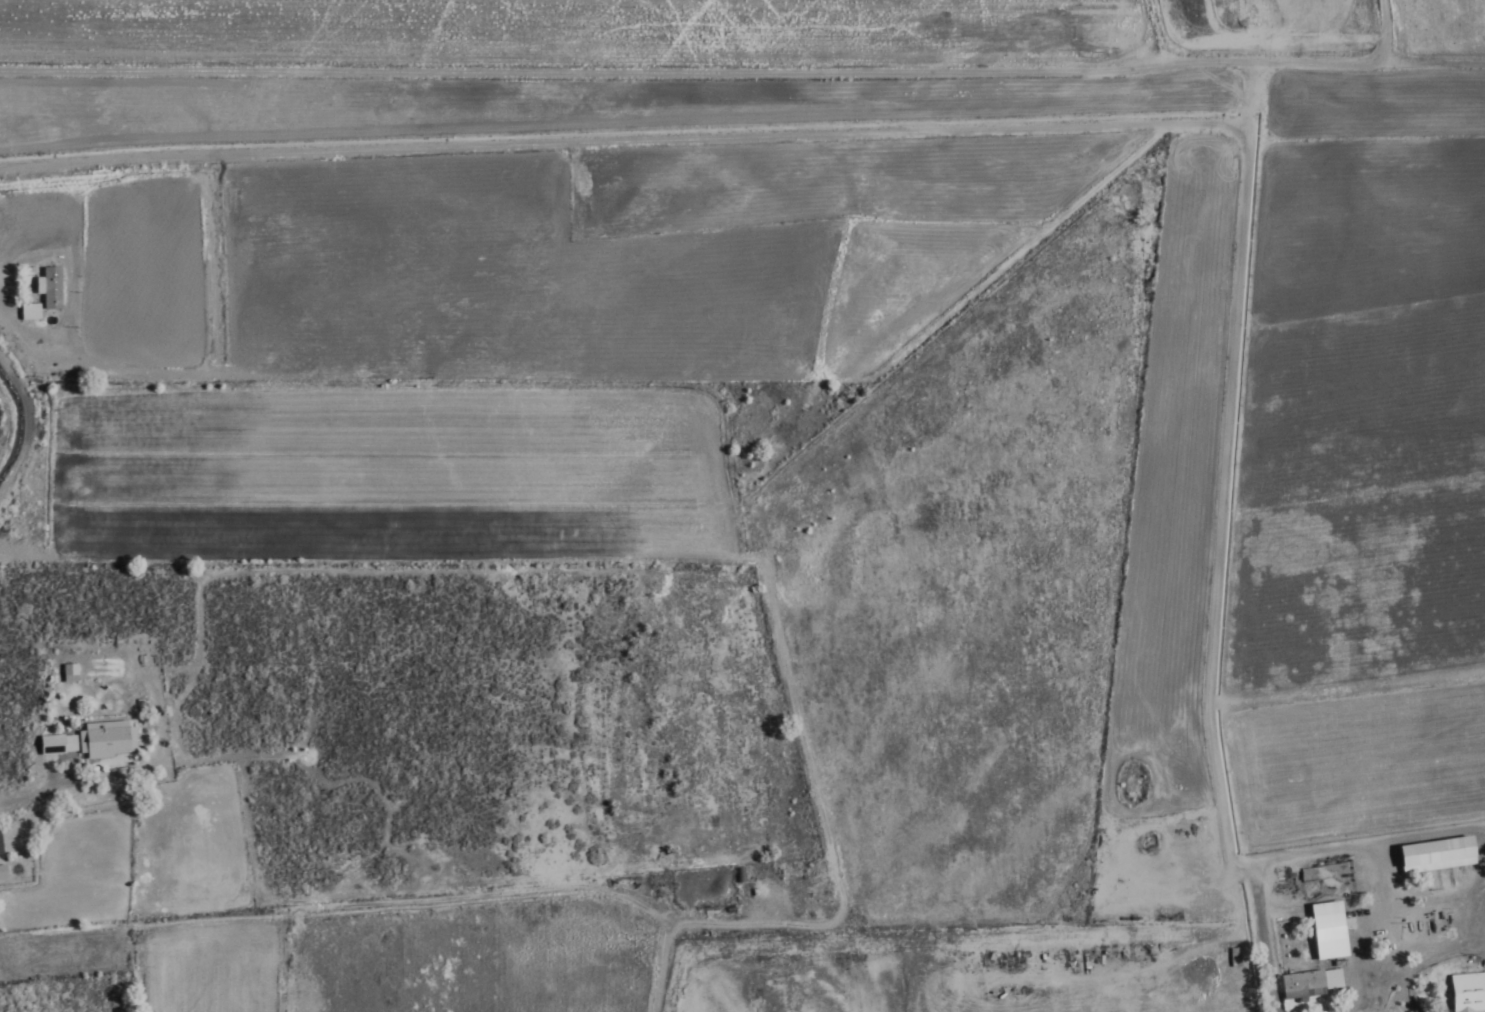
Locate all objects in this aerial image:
road: (742, 70)
road: (1123, 128)
building: (48, 291)
road: (21, 428)
building: (65, 675)
road: (1343, 691)
building: (88, 742)
road: (35, 799)
building: (1430, 856)
building: (736, 877)
building: (1323, 932)
building: (1298, 987)
building: (1465, 993)

